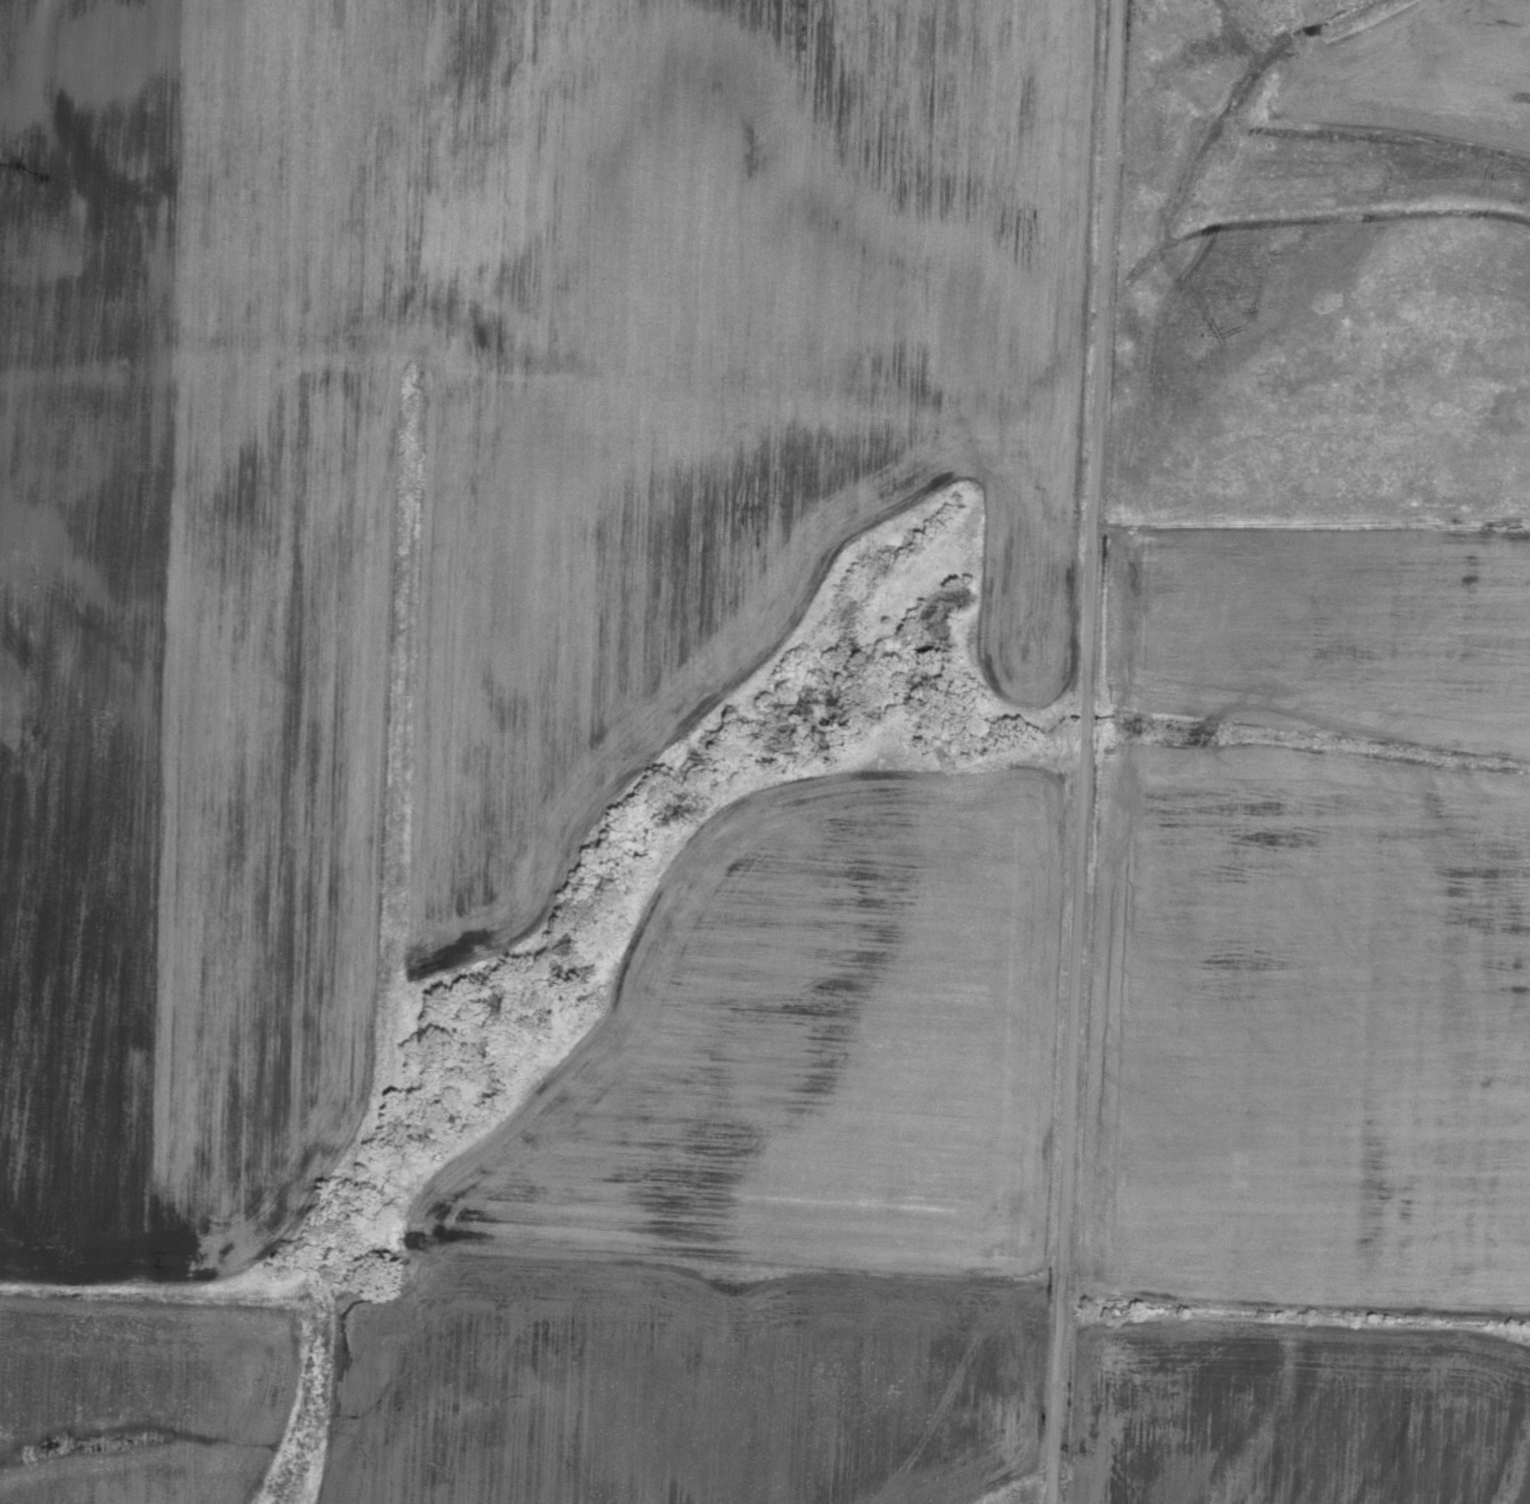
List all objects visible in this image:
road: (1086, 752)

